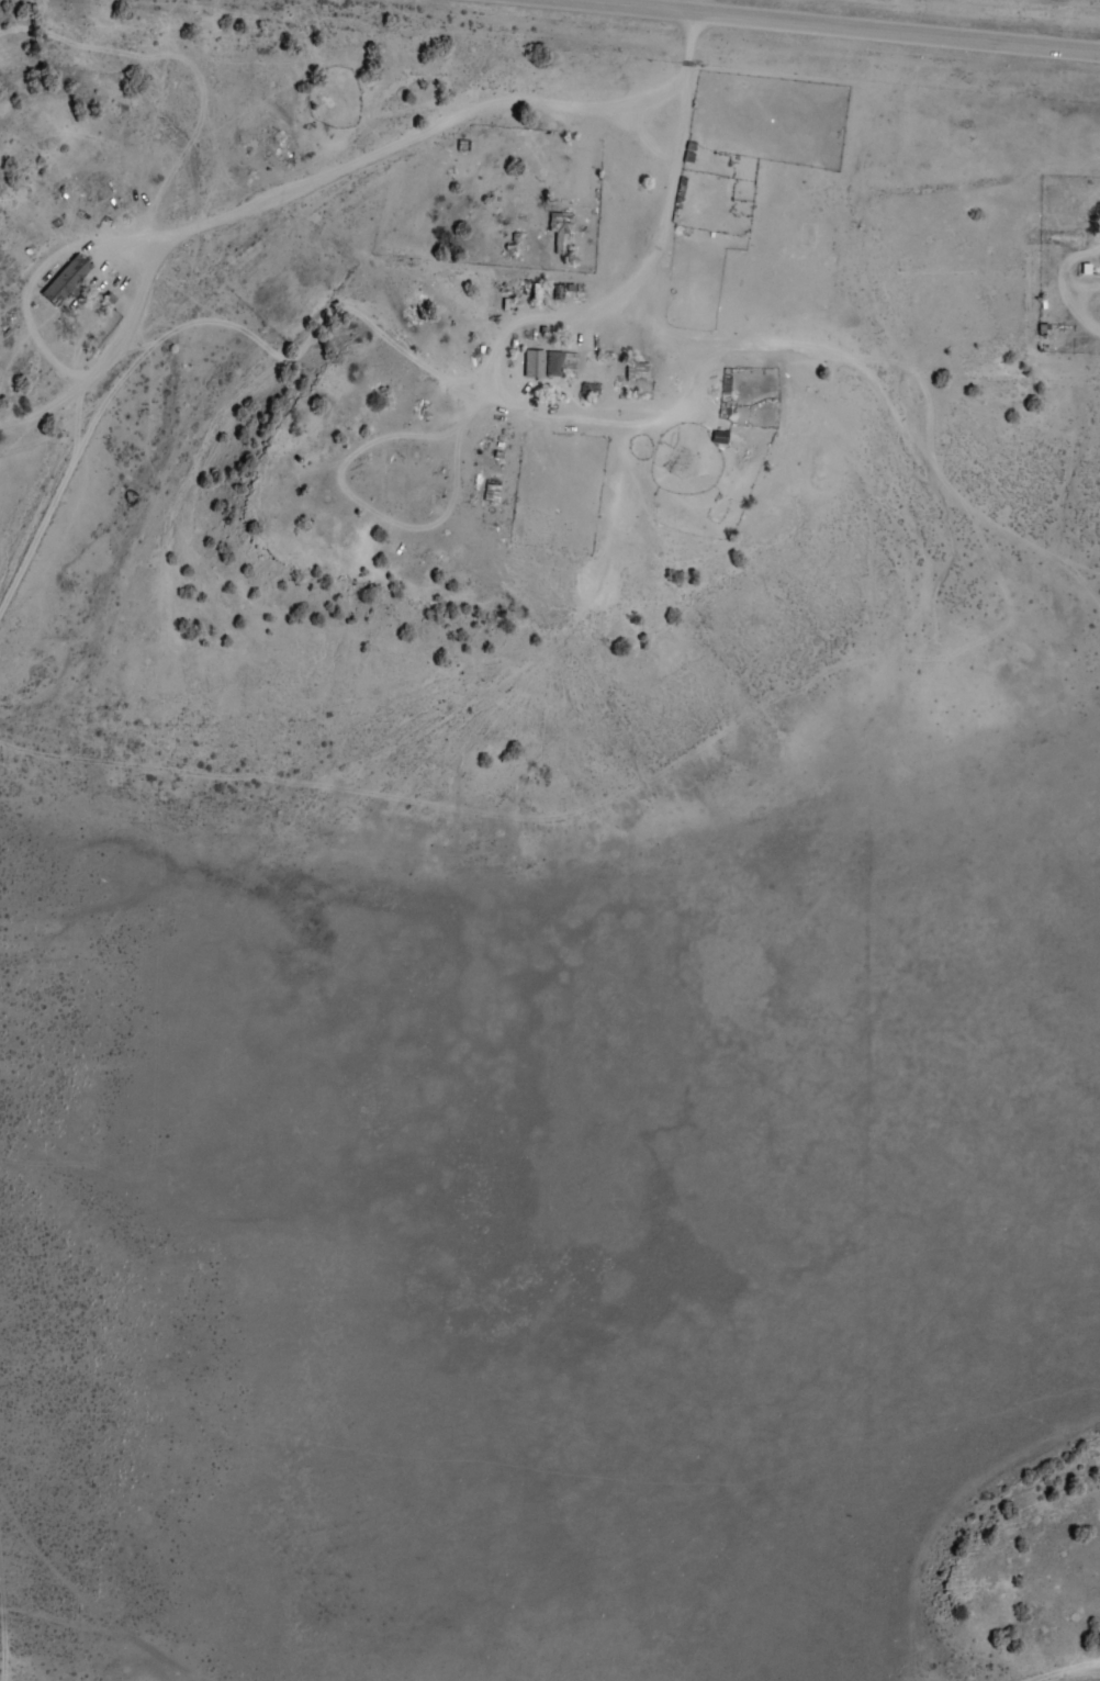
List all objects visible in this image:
road: (838, 25)
building: (748, 168)
building: (574, 181)
building: (561, 232)
building: (66, 280)
building: (1043, 337)
building: (534, 363)
building: (560, 363)
building: (642, 371)
building: (726, 391)
road: (462, 417)
building: (719, 437)
building: (491, 491)

